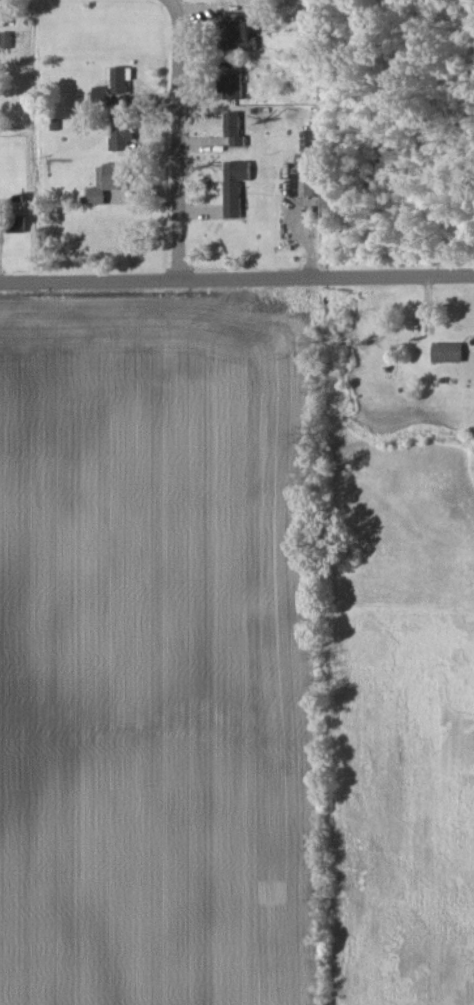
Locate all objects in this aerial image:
building: (239, 36)
building: (6, 39)
building: (232, 86)
building: (113, 87)
building: (234, 127)
building: (121, 131)
road: (178, 140)
building: (302, 185)
building: (234, 186)
building: (14, 224)
road: (237, 279)
building: (448, 352)

